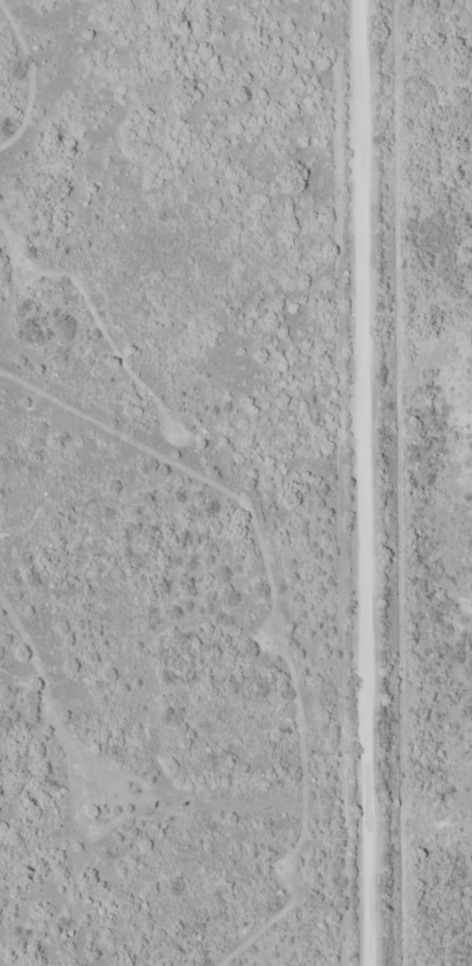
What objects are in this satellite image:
road: (366, 483)

